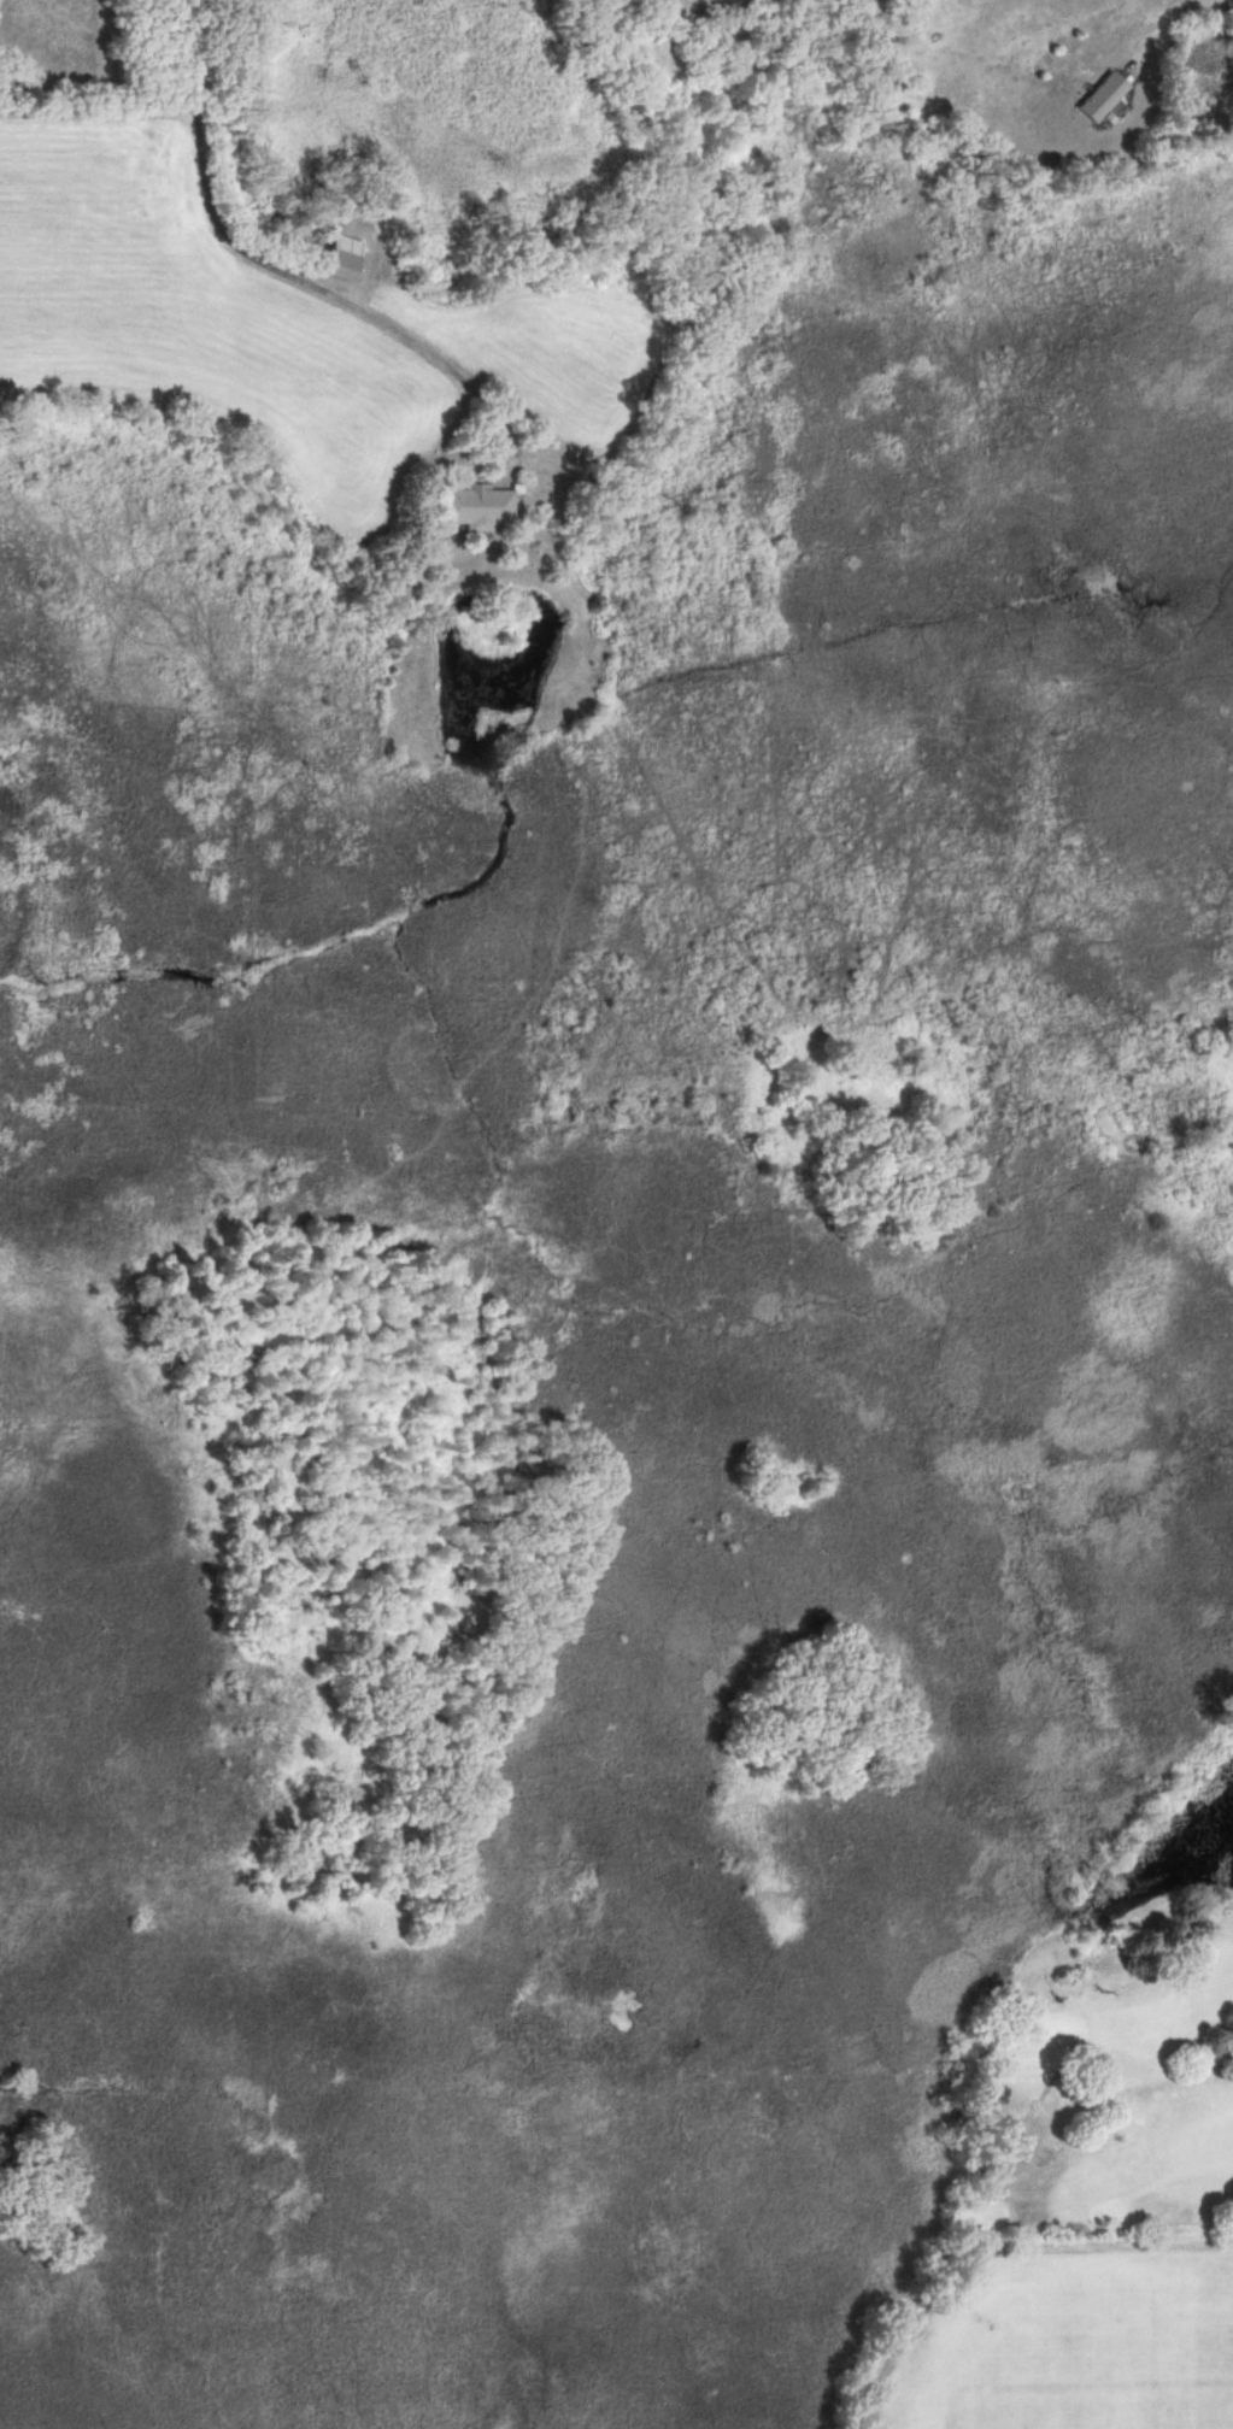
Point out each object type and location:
road: (1161, 27)
building: (1096, 96)
building: (337, 258)
road: (282, 277)
building: (472, 507)
park: (1158, 1114)
park: (1094, 2028)
park: (1043, 2042)

